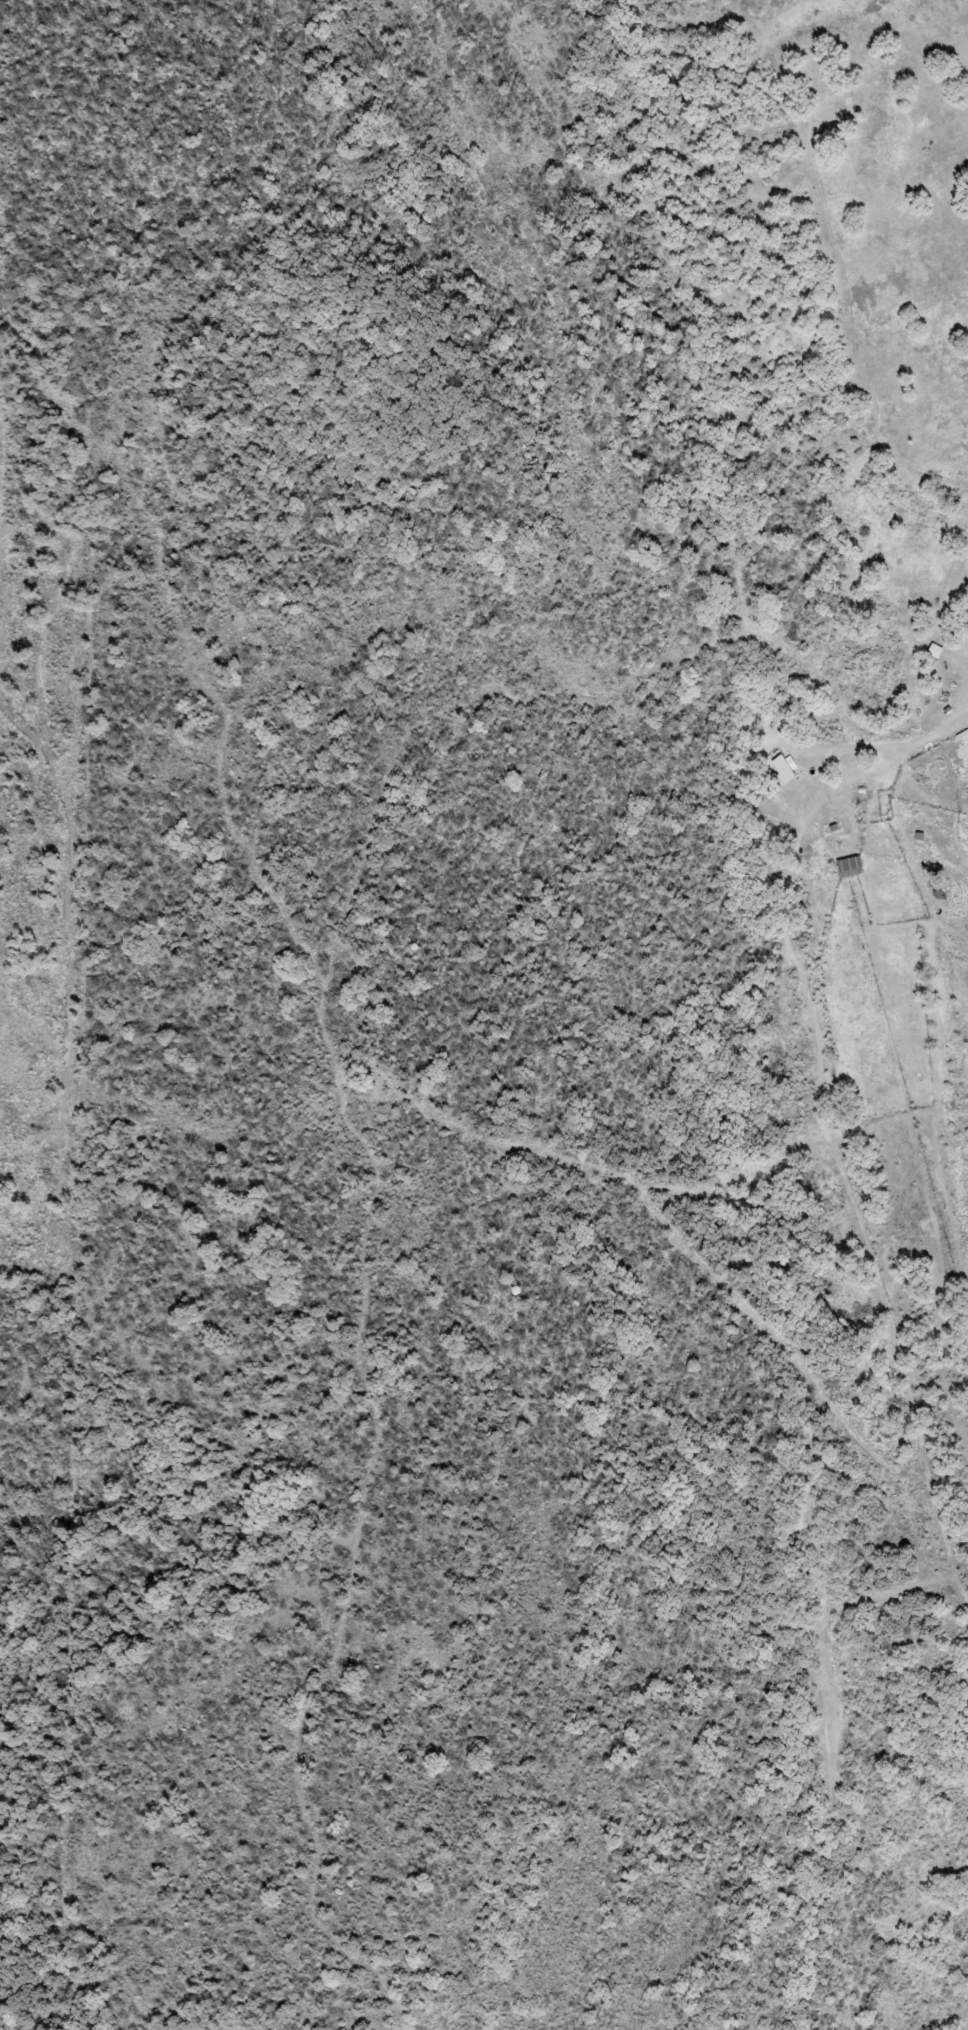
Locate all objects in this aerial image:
building: (779, 772)
building: (849, 867)

